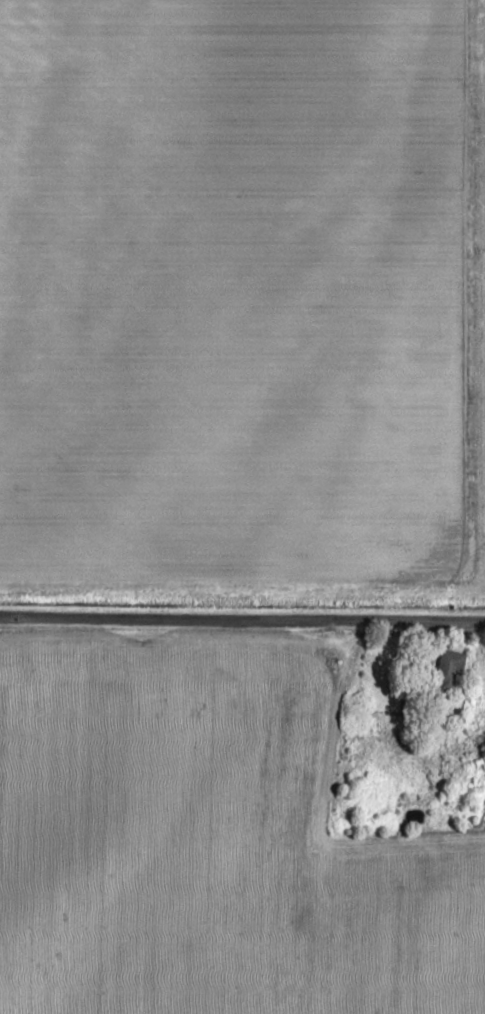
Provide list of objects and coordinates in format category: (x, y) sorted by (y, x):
road: (242, 622)
building: (449, 667)

